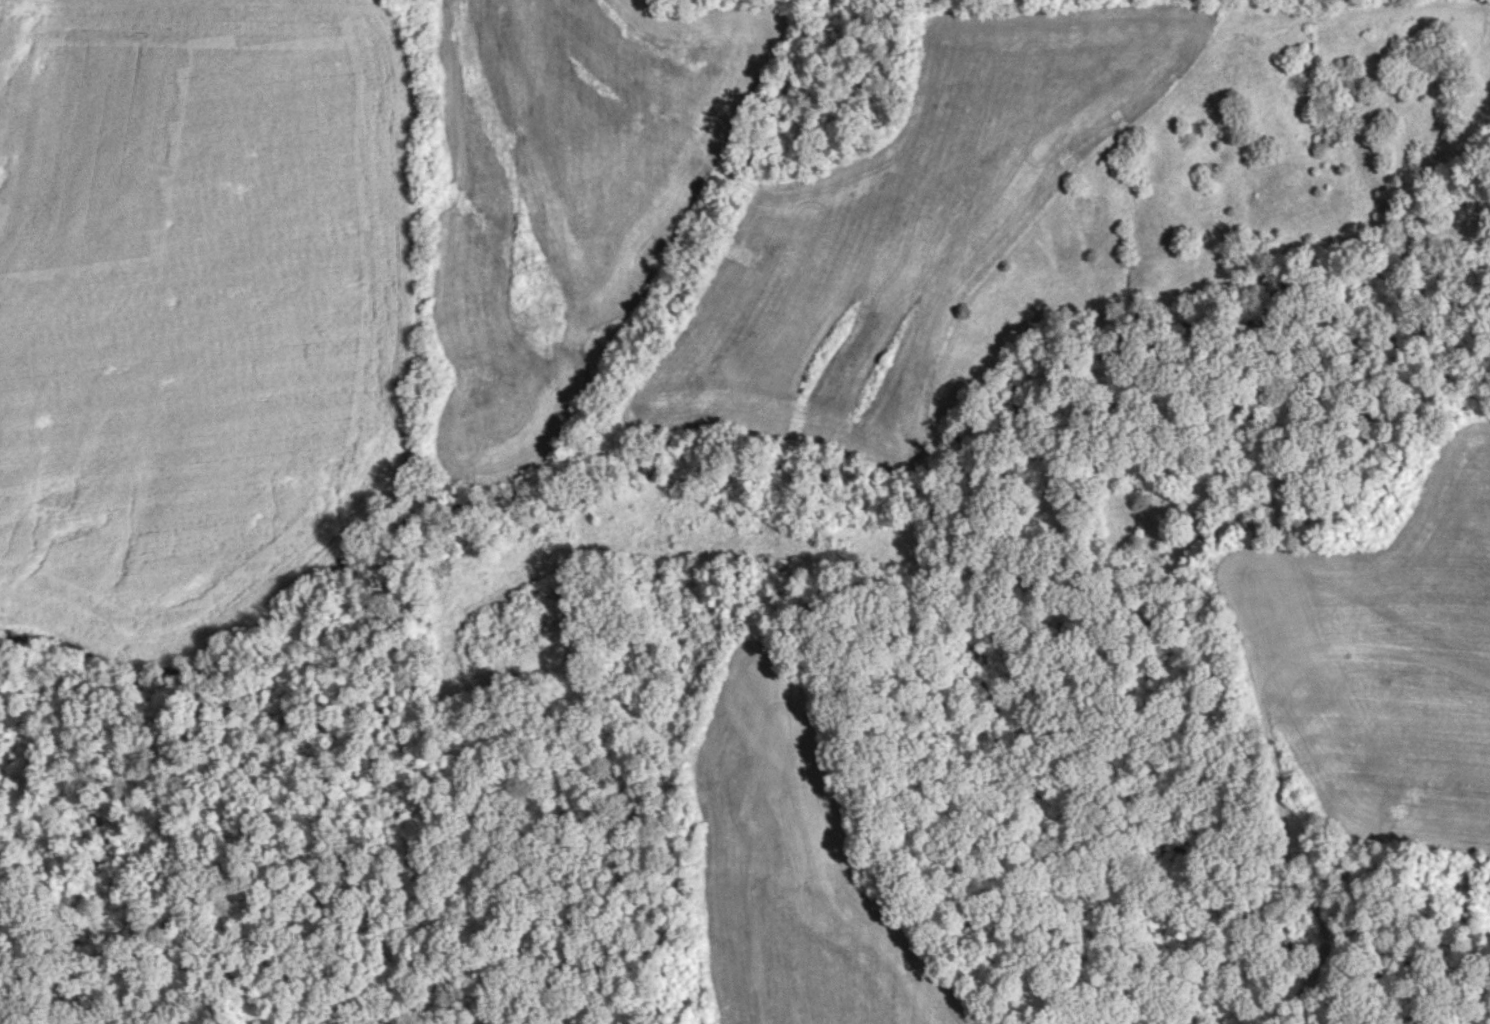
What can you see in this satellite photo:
crop: (1161, 1)

